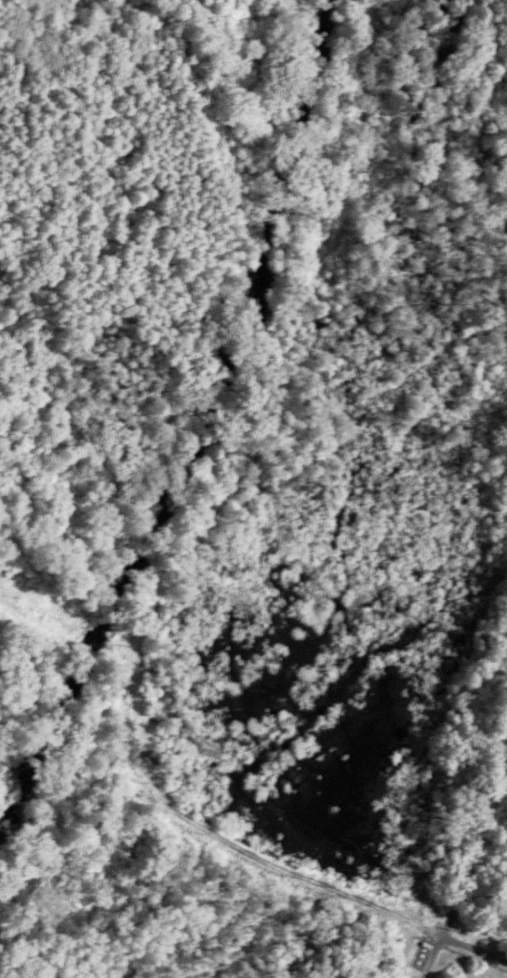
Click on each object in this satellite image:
road: (478, 950)

